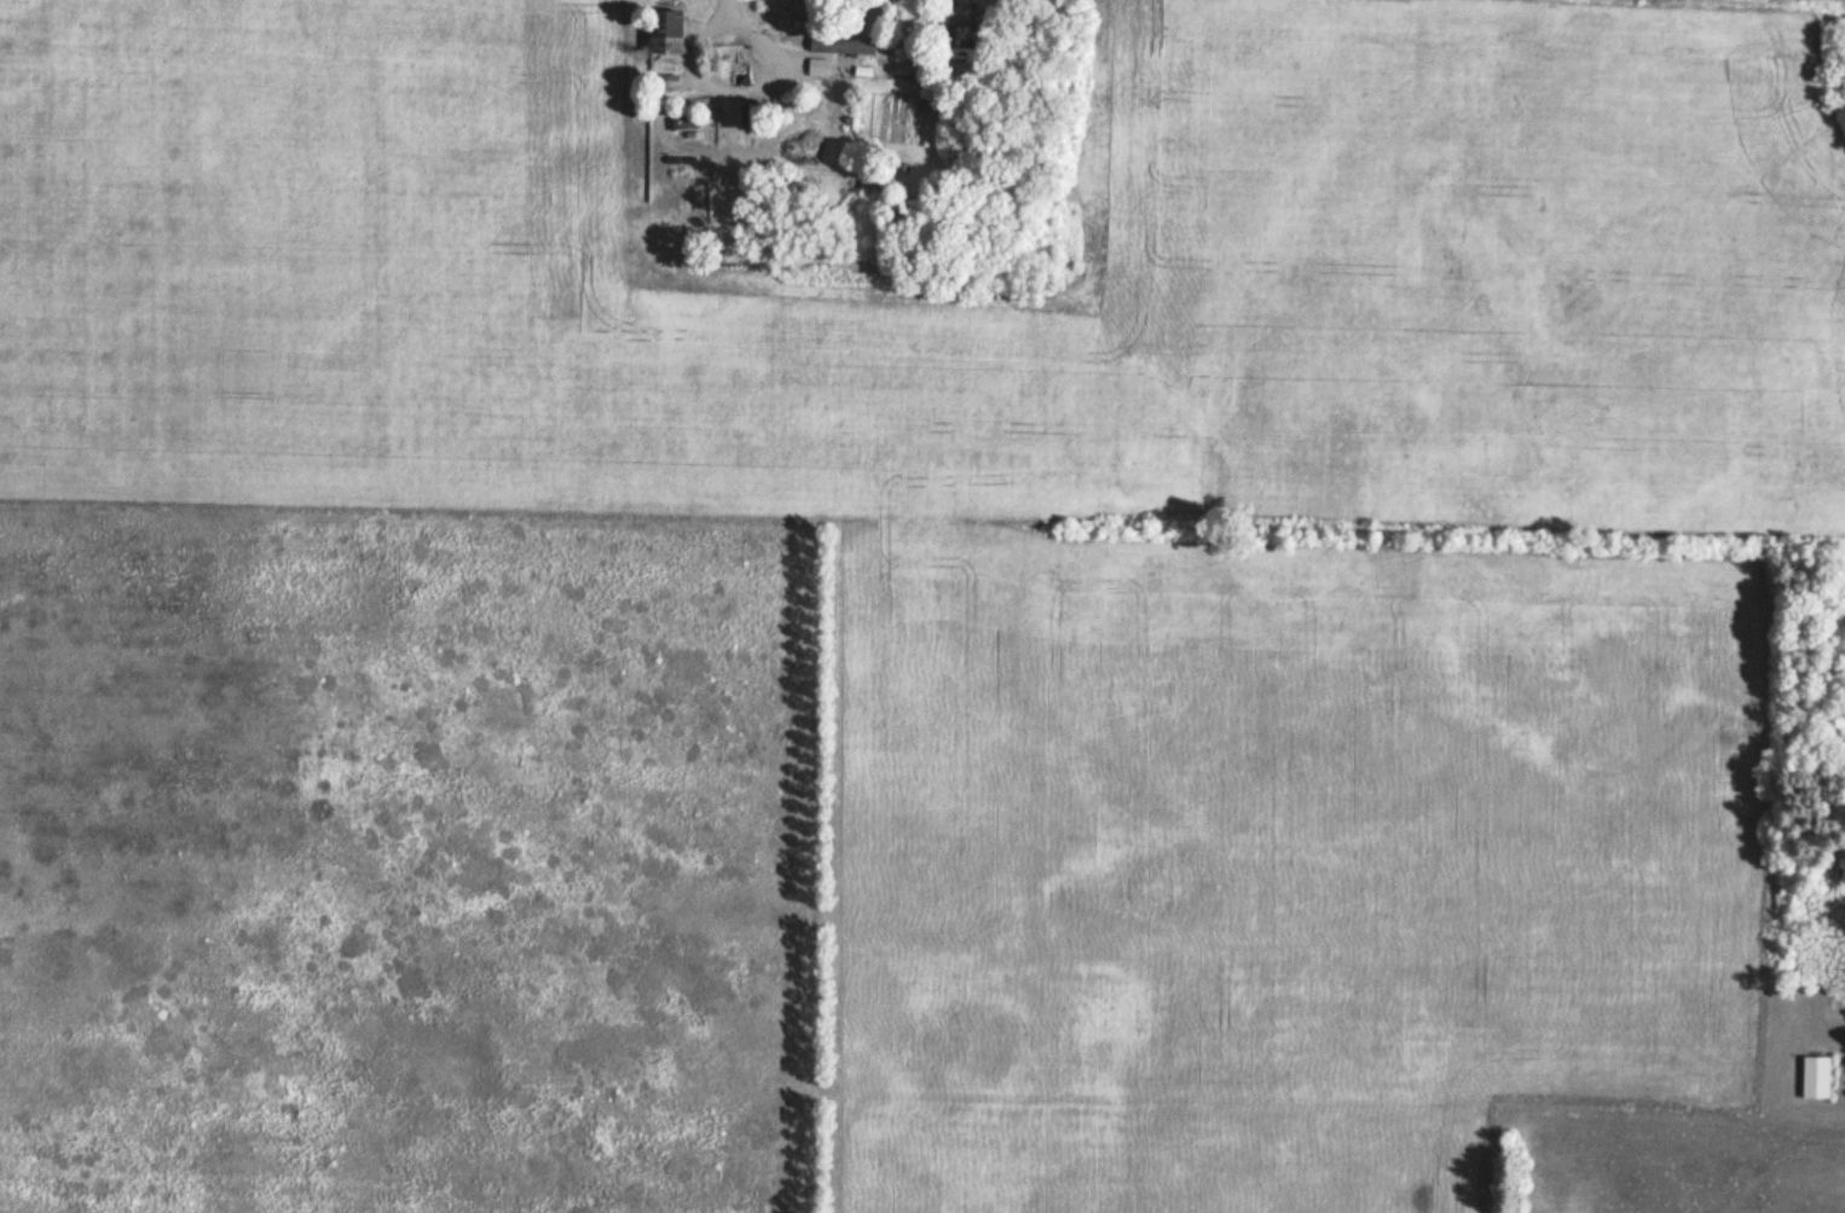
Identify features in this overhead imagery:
building: (666, 33)
building: (841, 47)
building: (815, 68)
building: (920, 203)
building: (1815, 1079)

